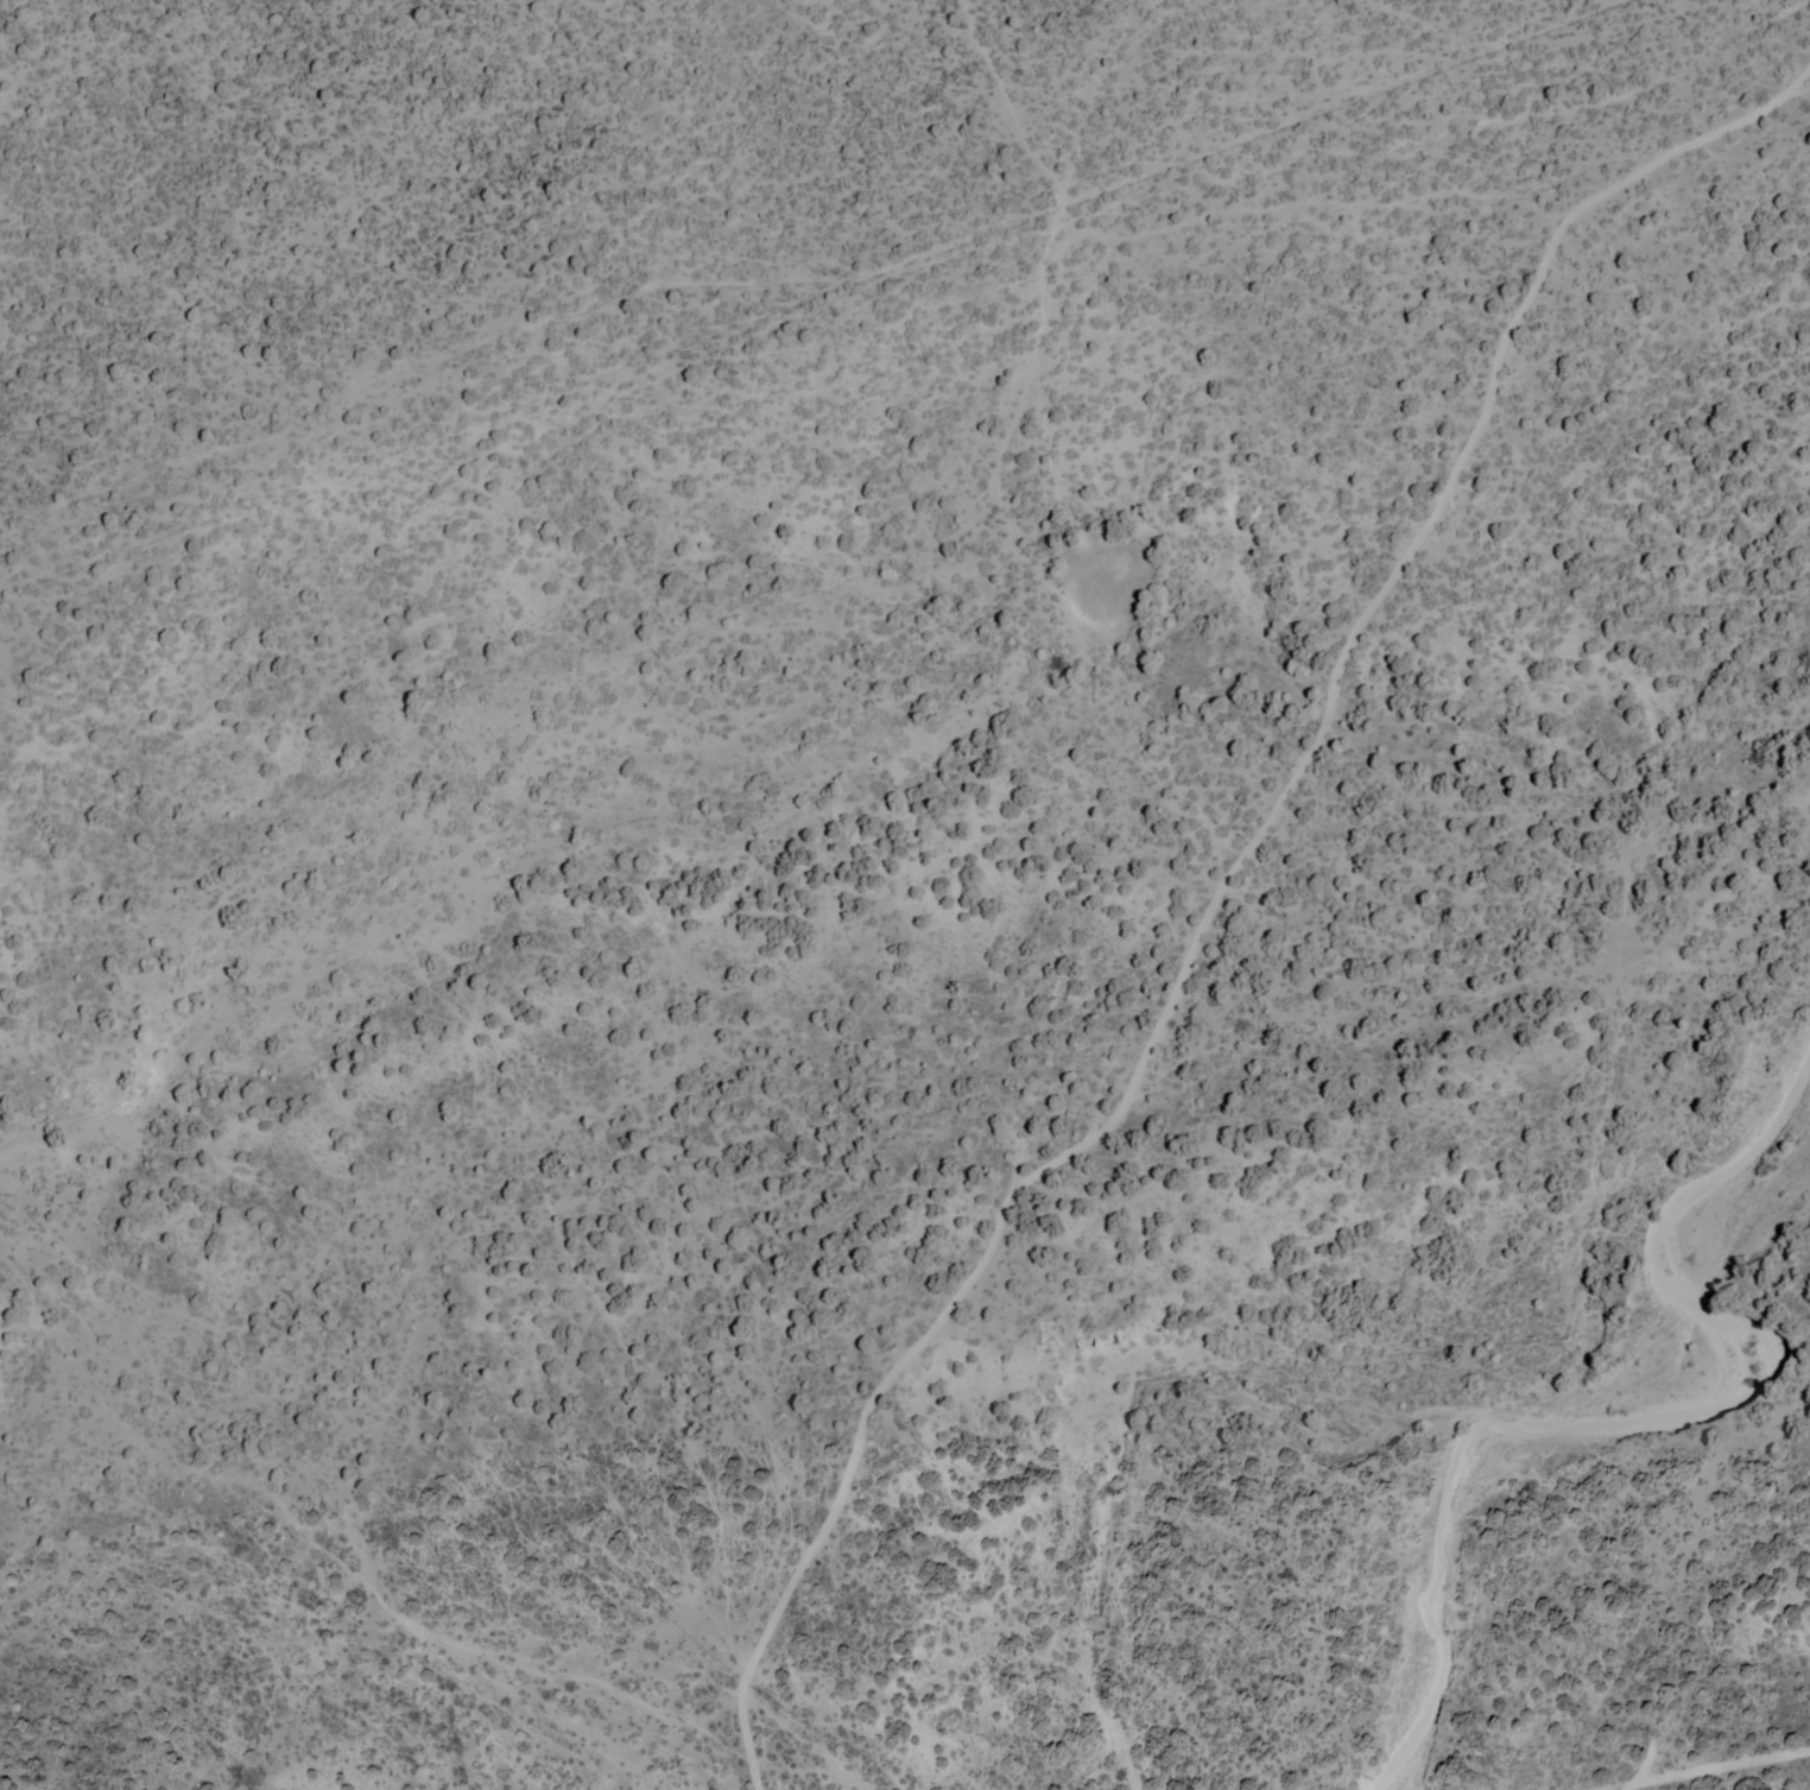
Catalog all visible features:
road: (1688, 147)
road: (1311, 204)
road: (593, 353)
road: (1159, 1024)

